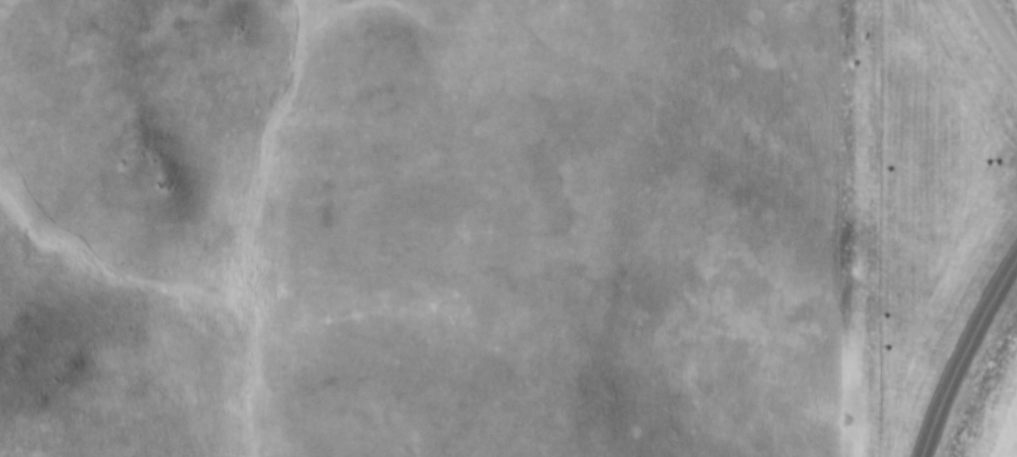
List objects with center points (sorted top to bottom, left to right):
road: (1001, 24)
road: (969, 359)

